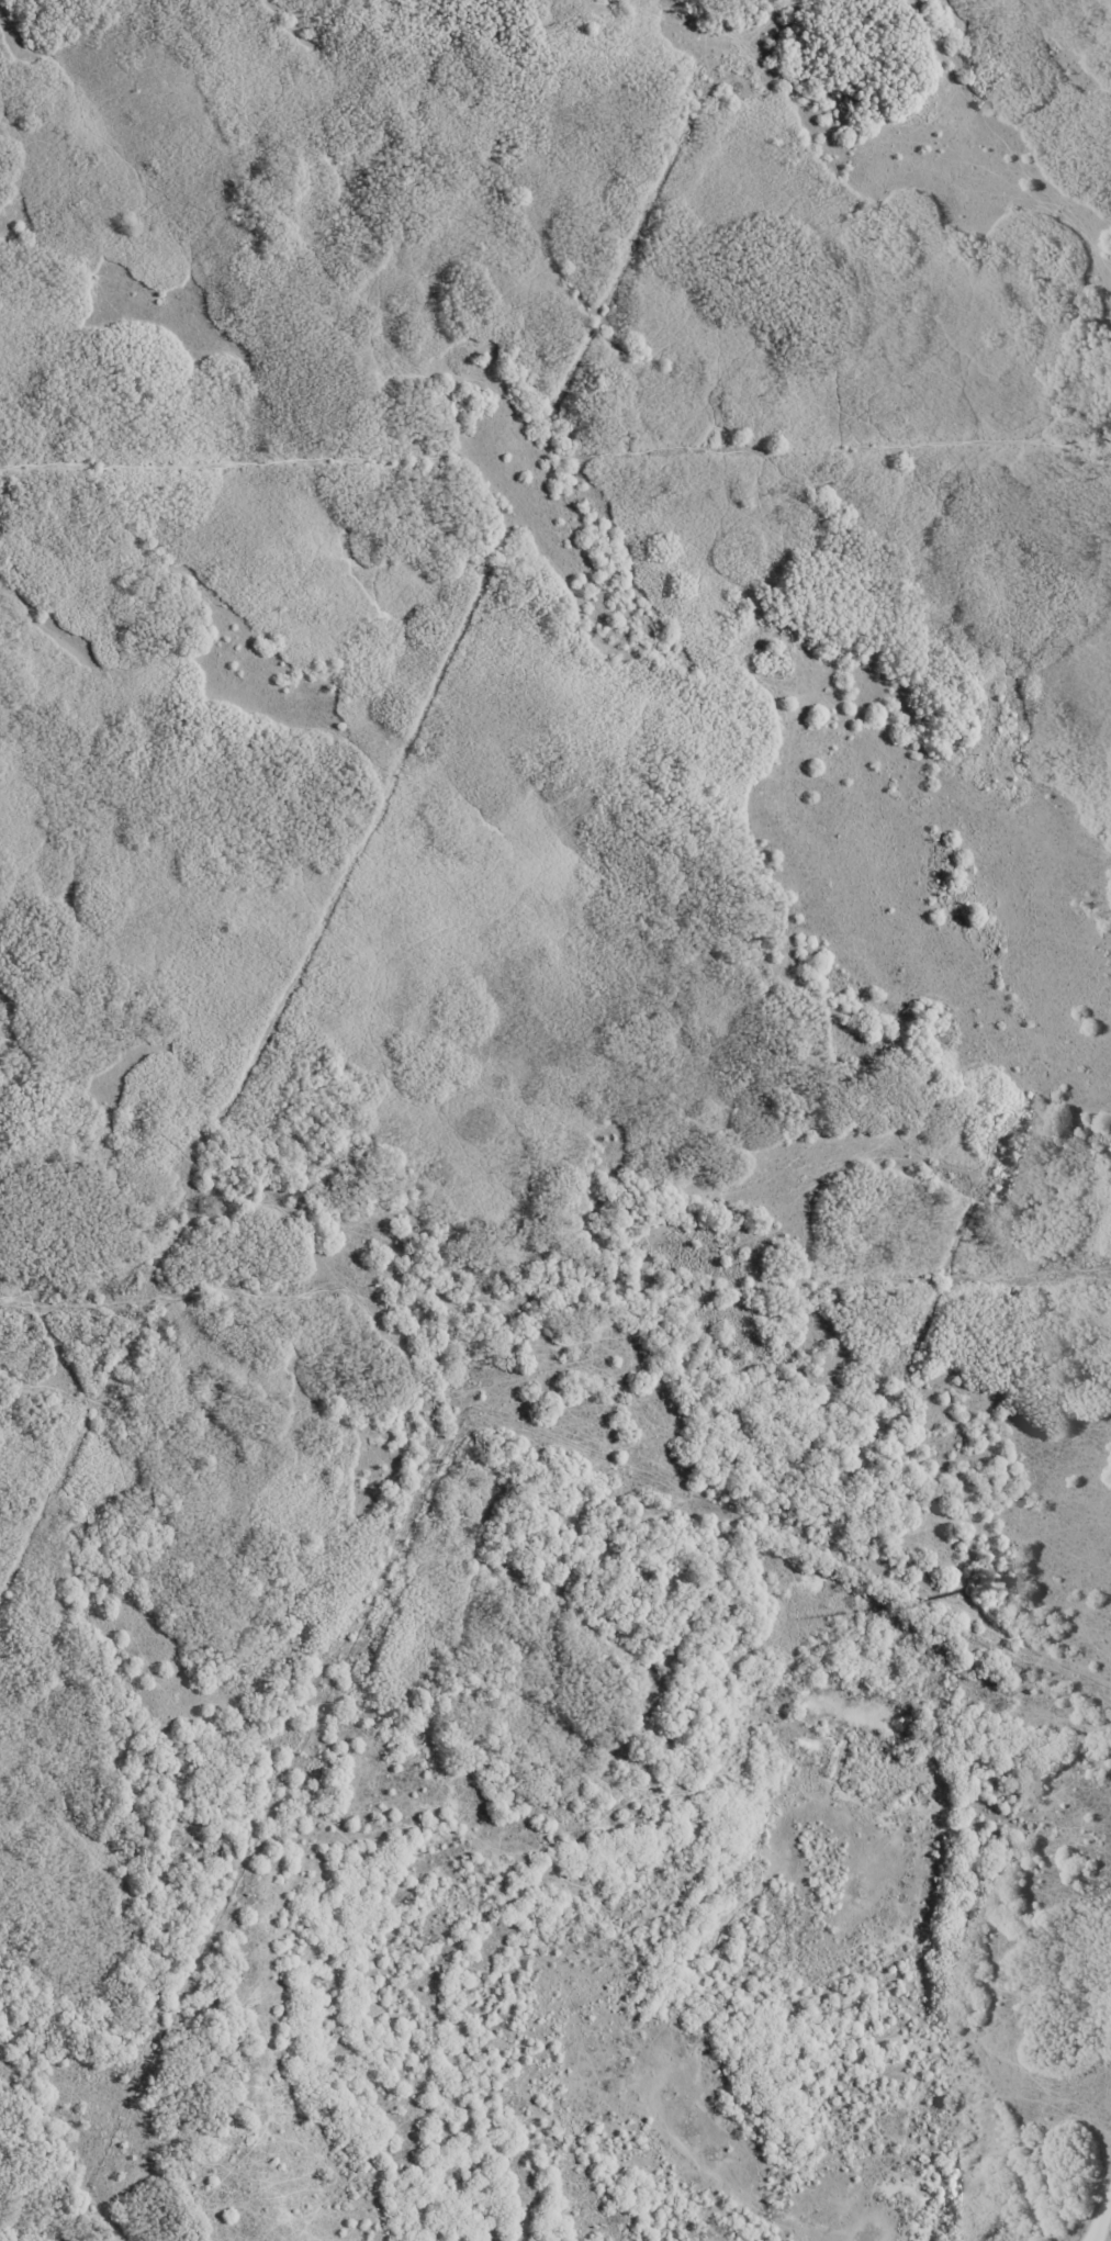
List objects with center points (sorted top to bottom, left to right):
road: (1082, 2193)

